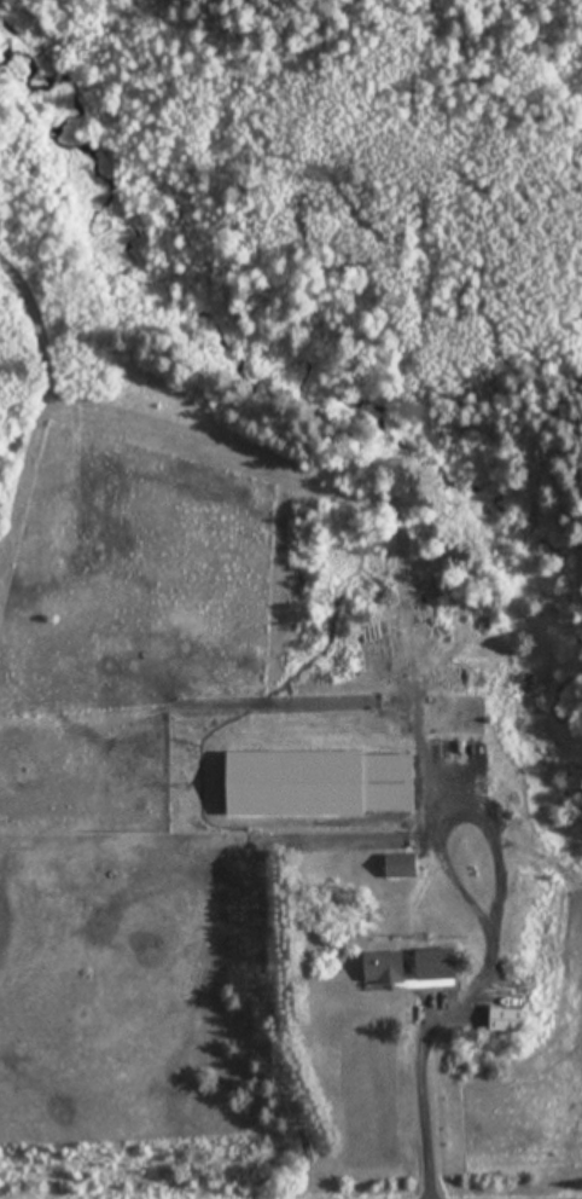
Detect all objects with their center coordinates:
building: (319, 783)
building: (400, 865)
building: (383, 967)
building: (429, 968)
building: (506, 1019)

